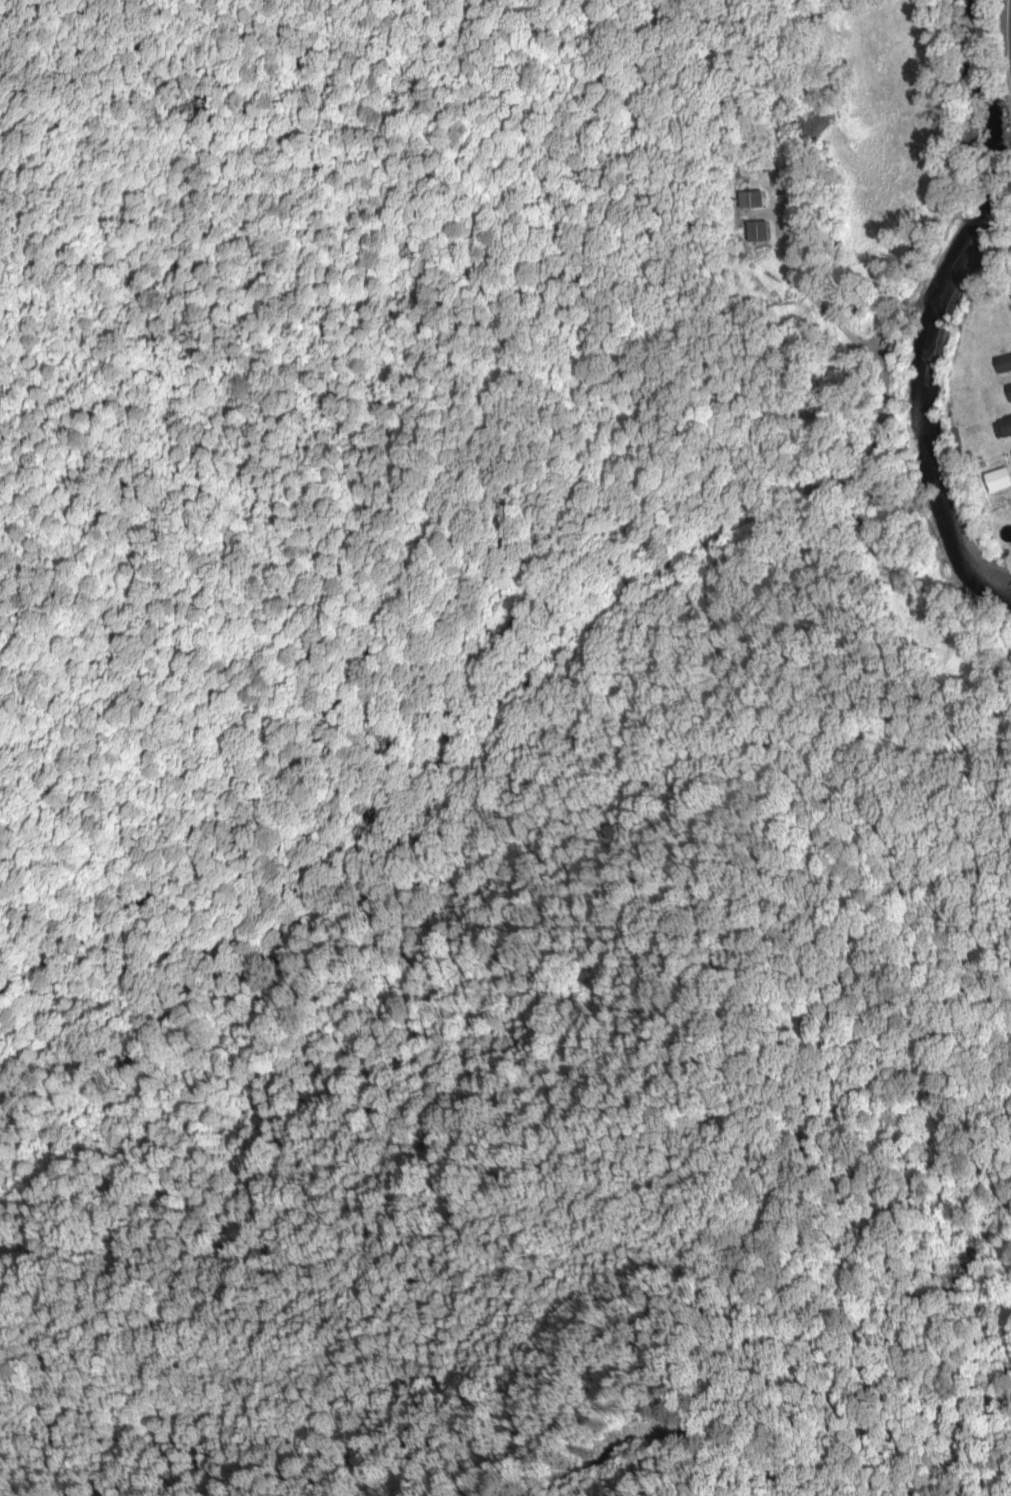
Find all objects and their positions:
building: (751, 198)
building: (757, 230)
river: (988, 286)
building: (1003, 362)
building: (1008, 390)
building: (1003, 427)

